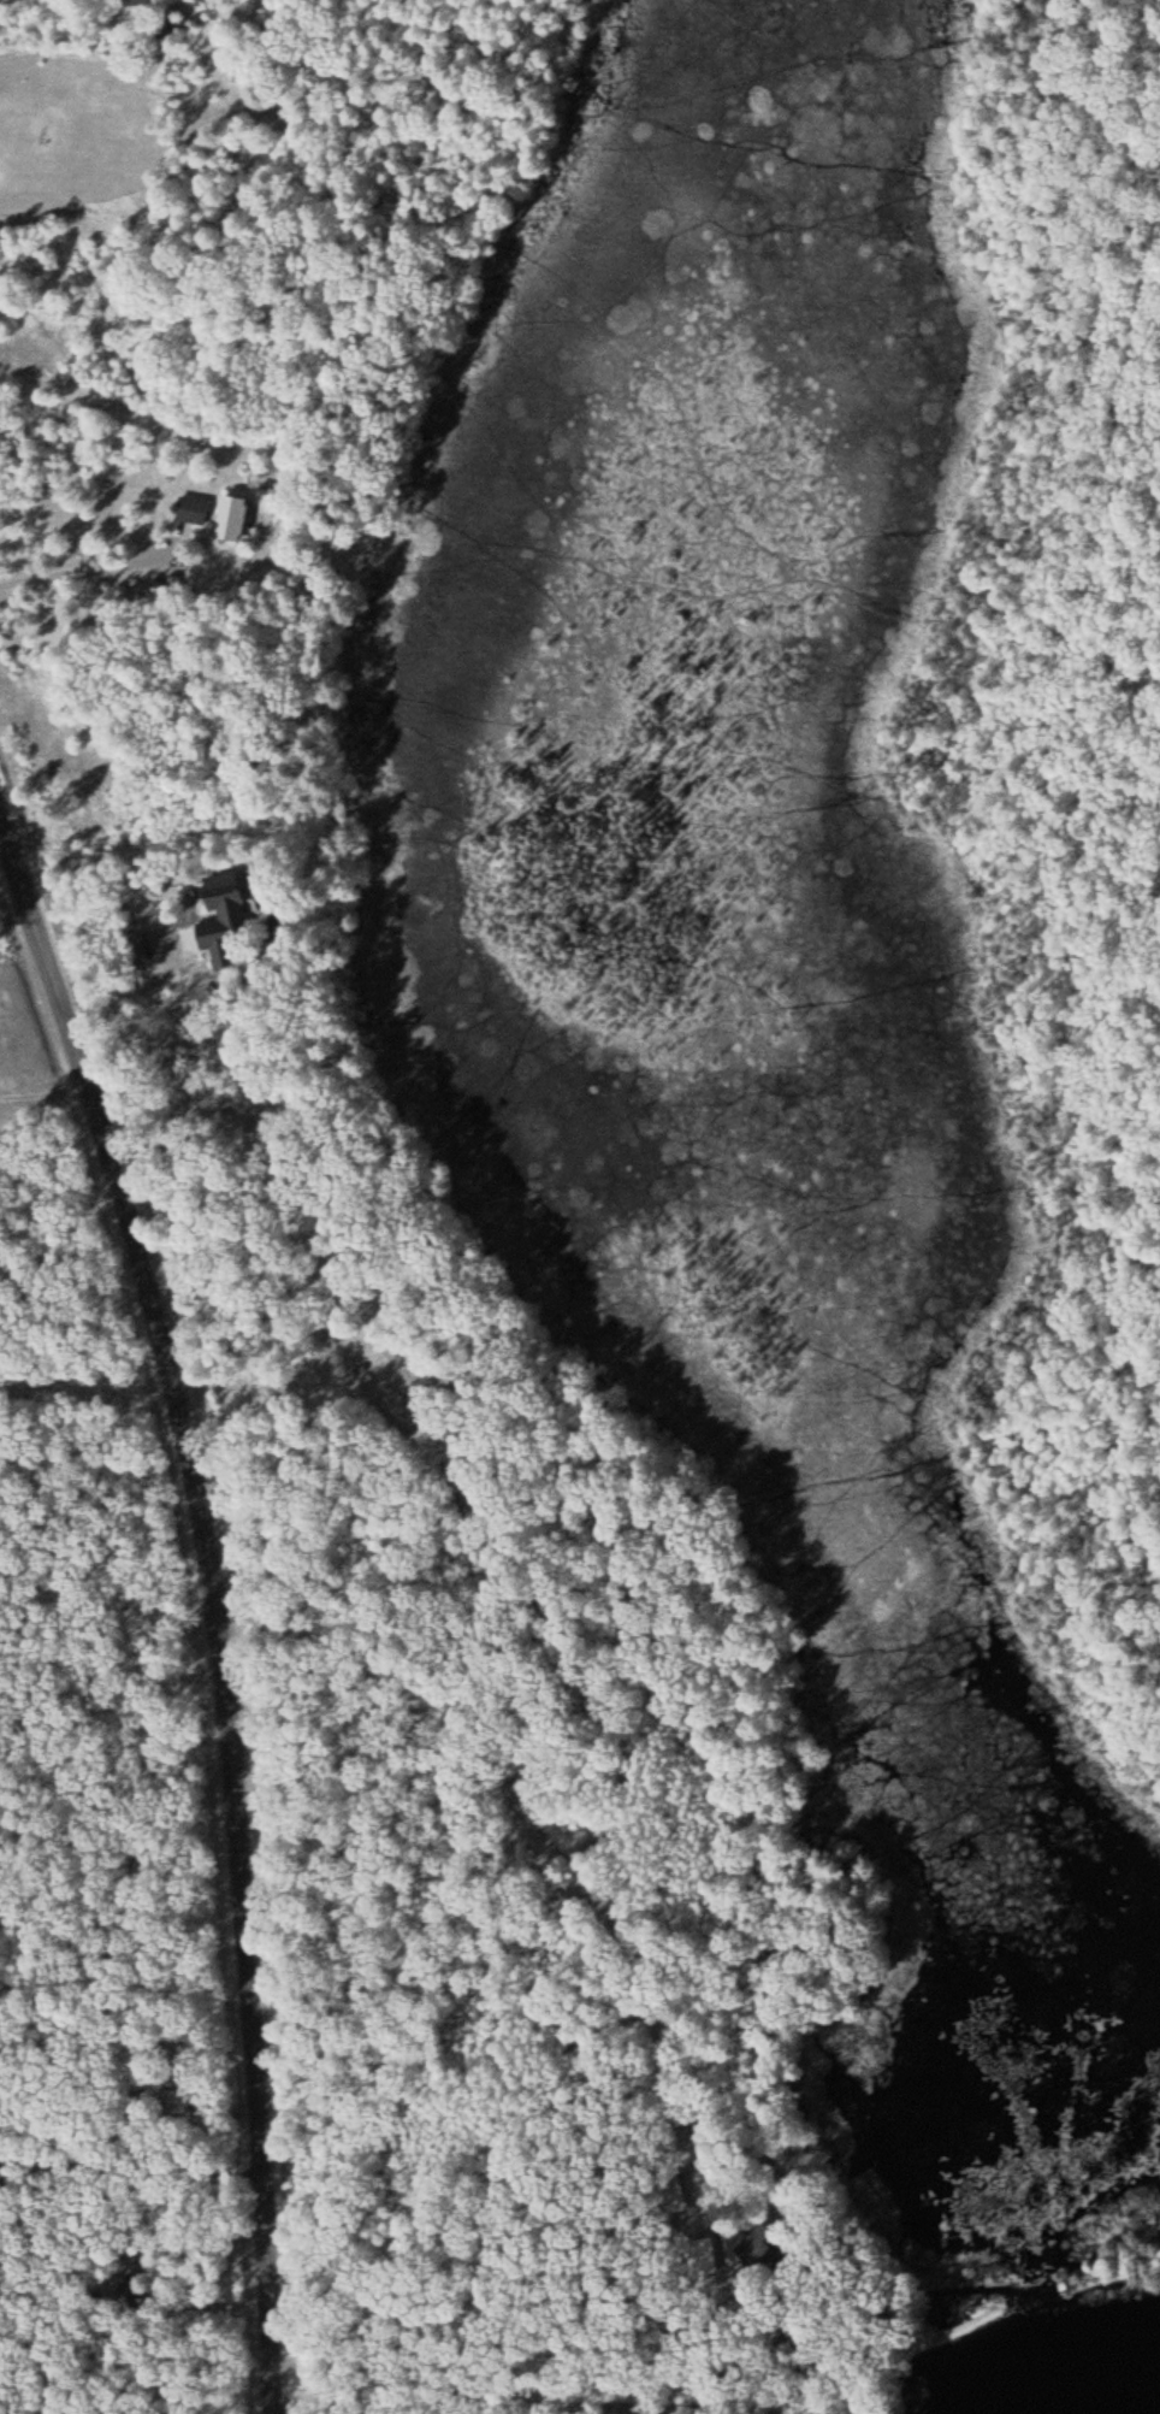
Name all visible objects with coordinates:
road: (173, 183)
building: (190, 512)
building: (227, 520)
building: (217, 910)
road: (217, 1600)
building: (171, 2101)
road: (546, 2130)
building: (669, 2189)
building: (700, 2257)
road: (481, 2406)

